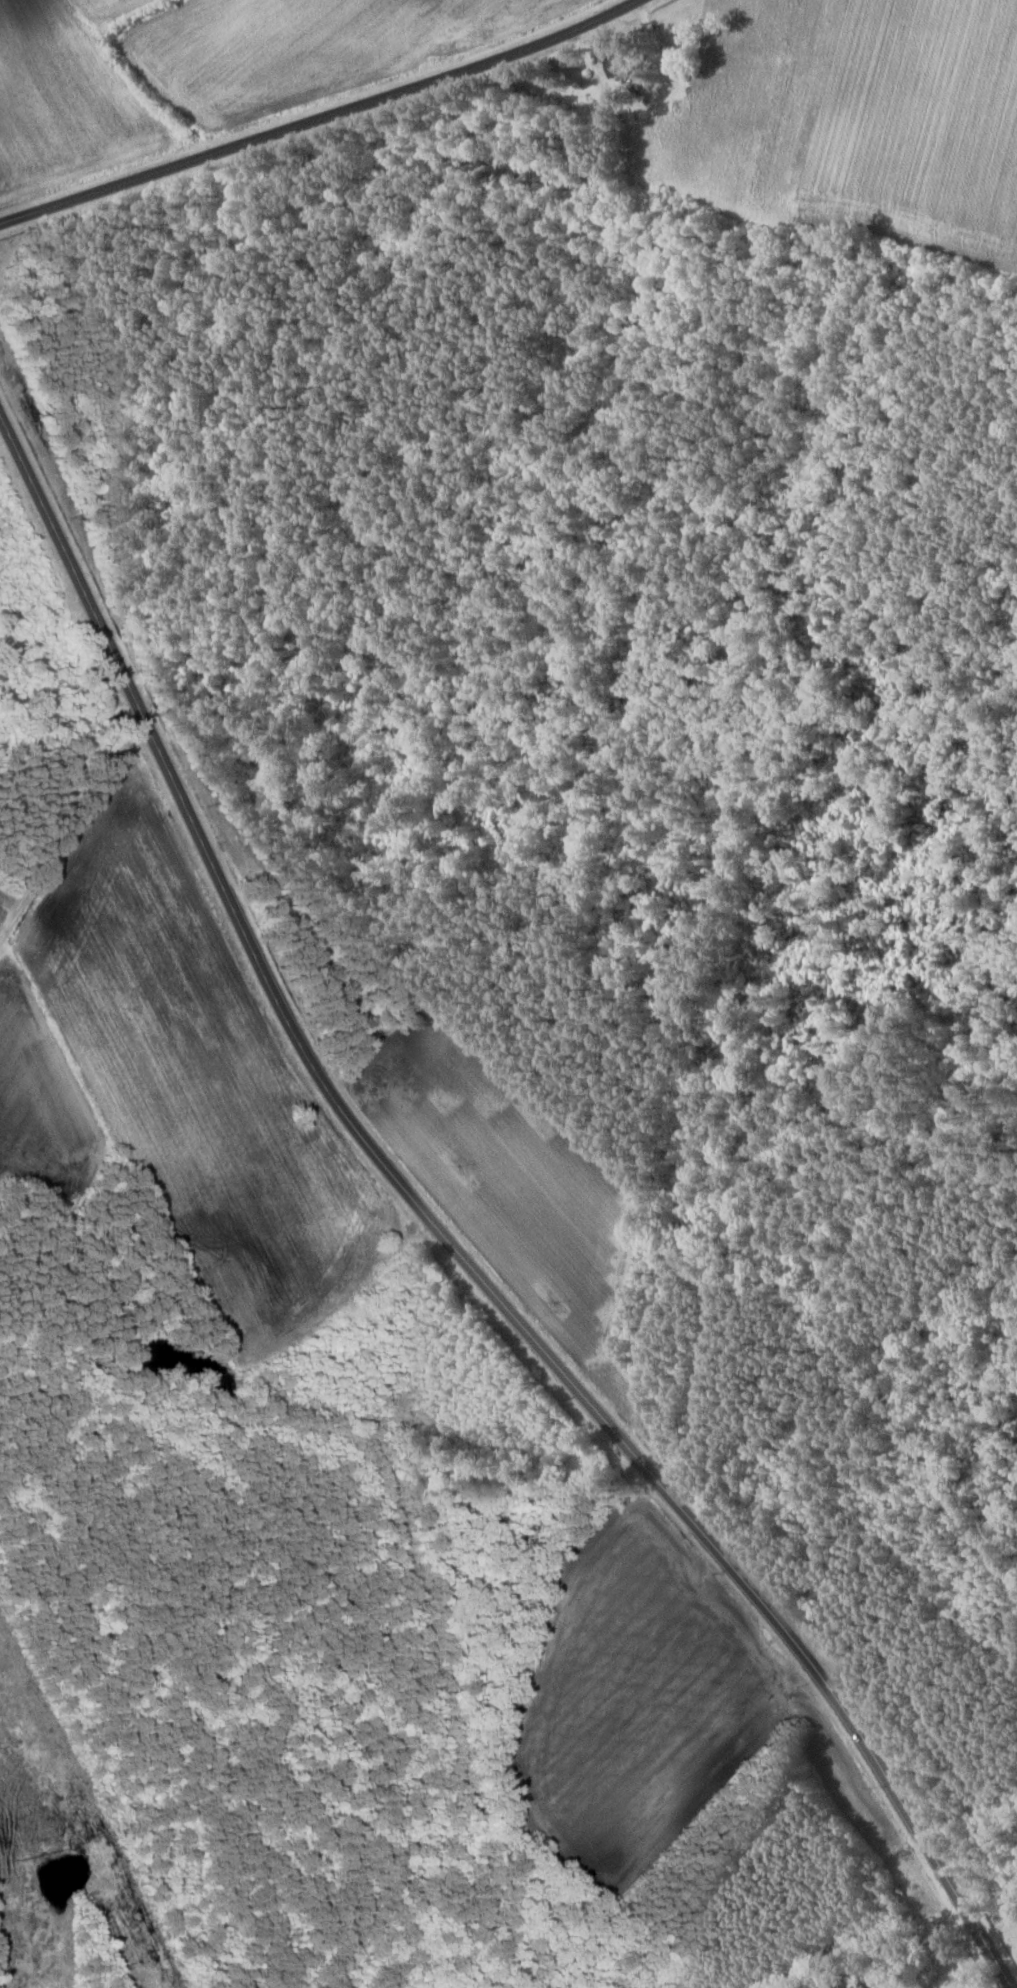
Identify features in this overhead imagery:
building: (626, 65)
road: (321, 117)
road: (89, 926)
road: (448, 1238)
power tower: (36, 1858)
building: (864, 1987)

